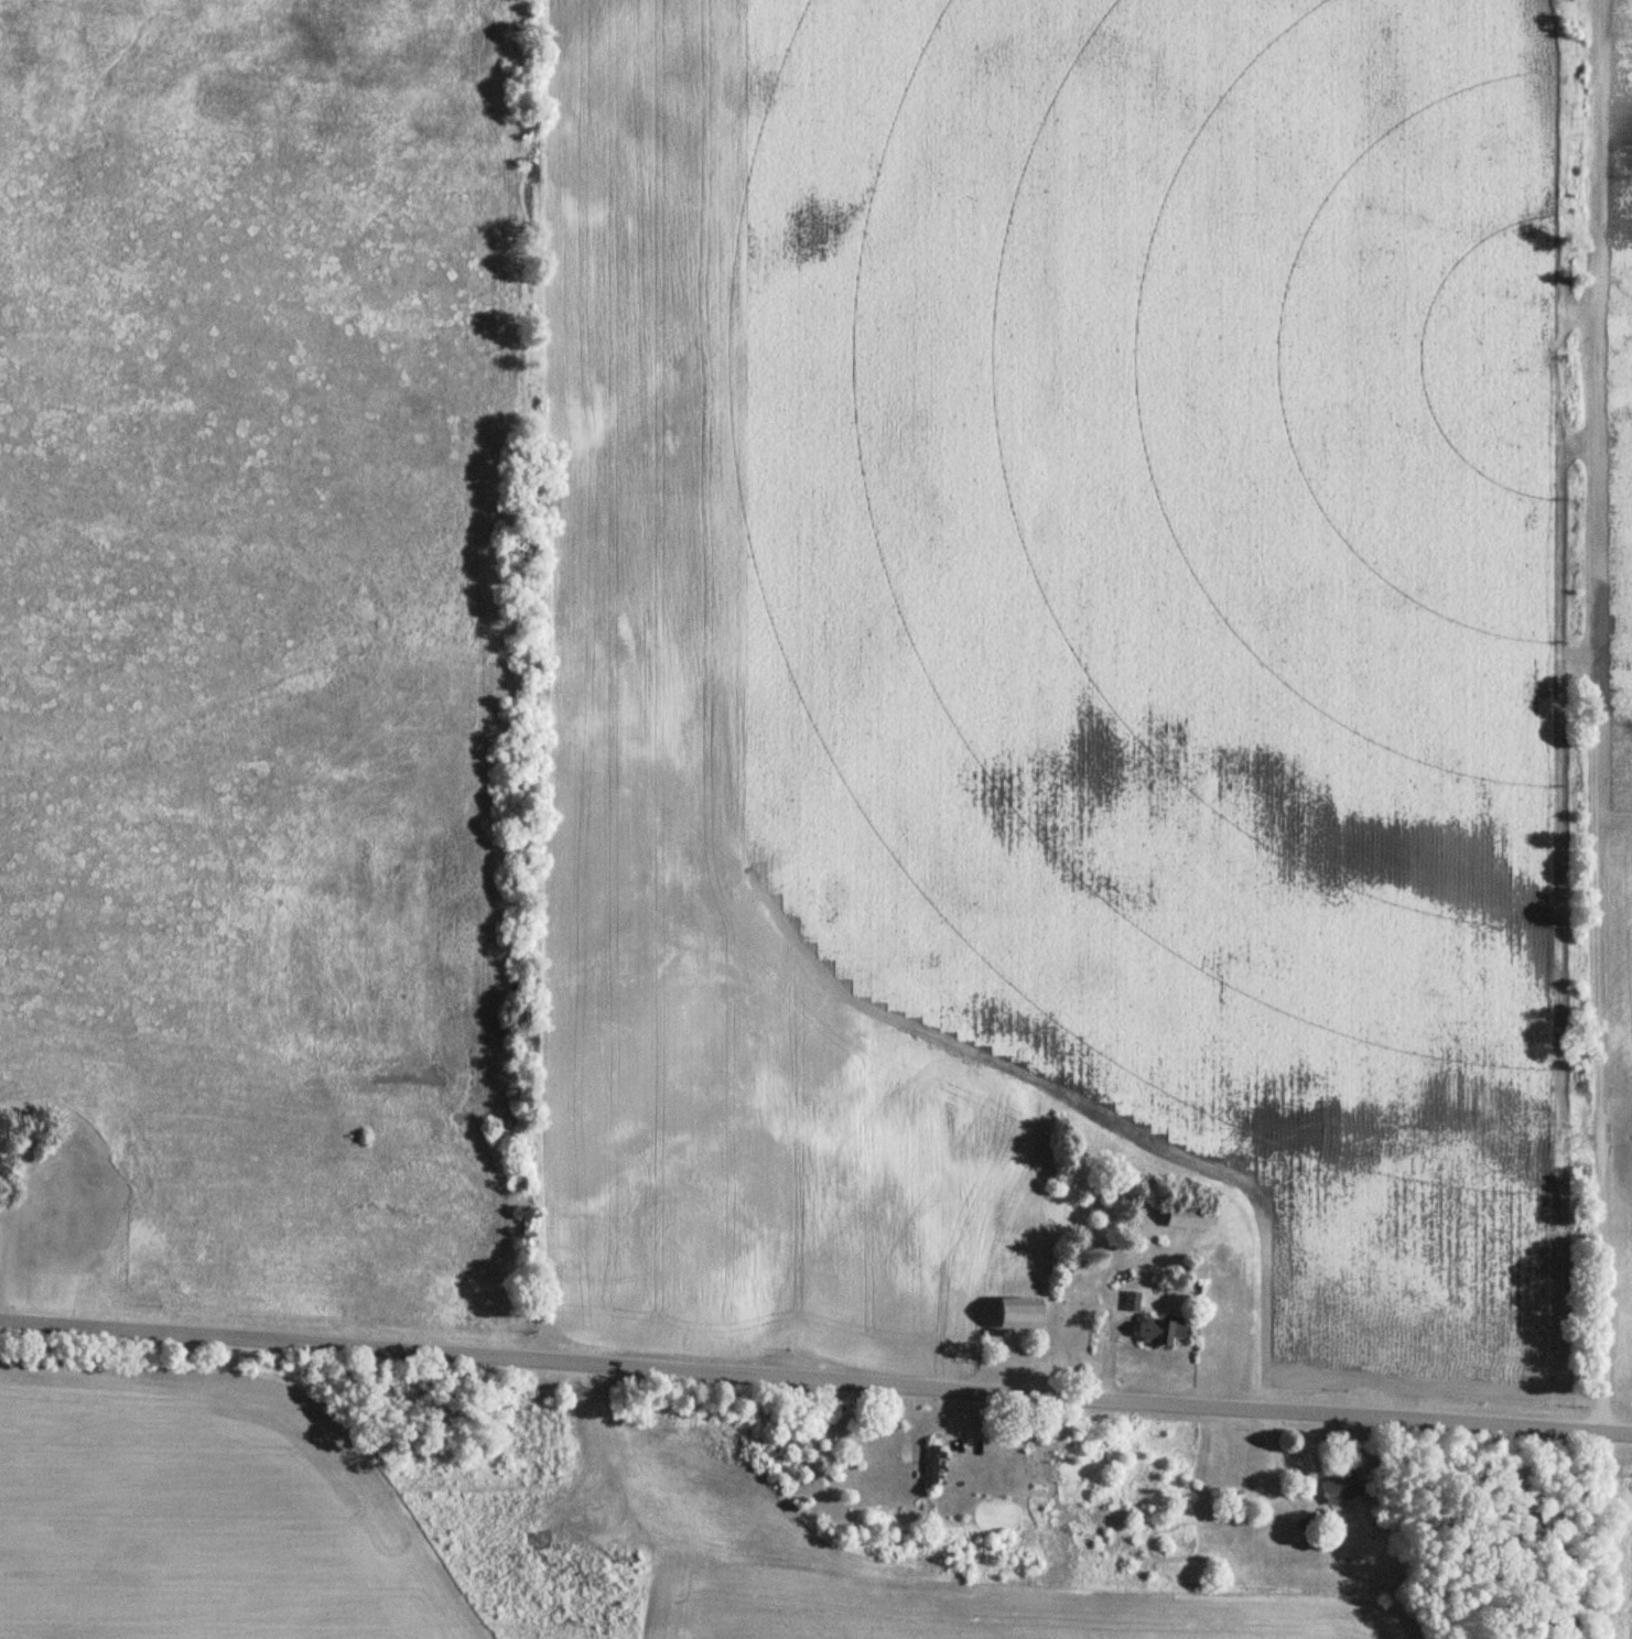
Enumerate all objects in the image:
building: (67, 1213)
building: (1184, 1219)
building: (1192, 1273)
building: (1131, 1302)
building: (1013, 1315)
building: (1158, 1332)
road: (815, 1380)
building: (930, 1468)
building: (1338, 1488)

